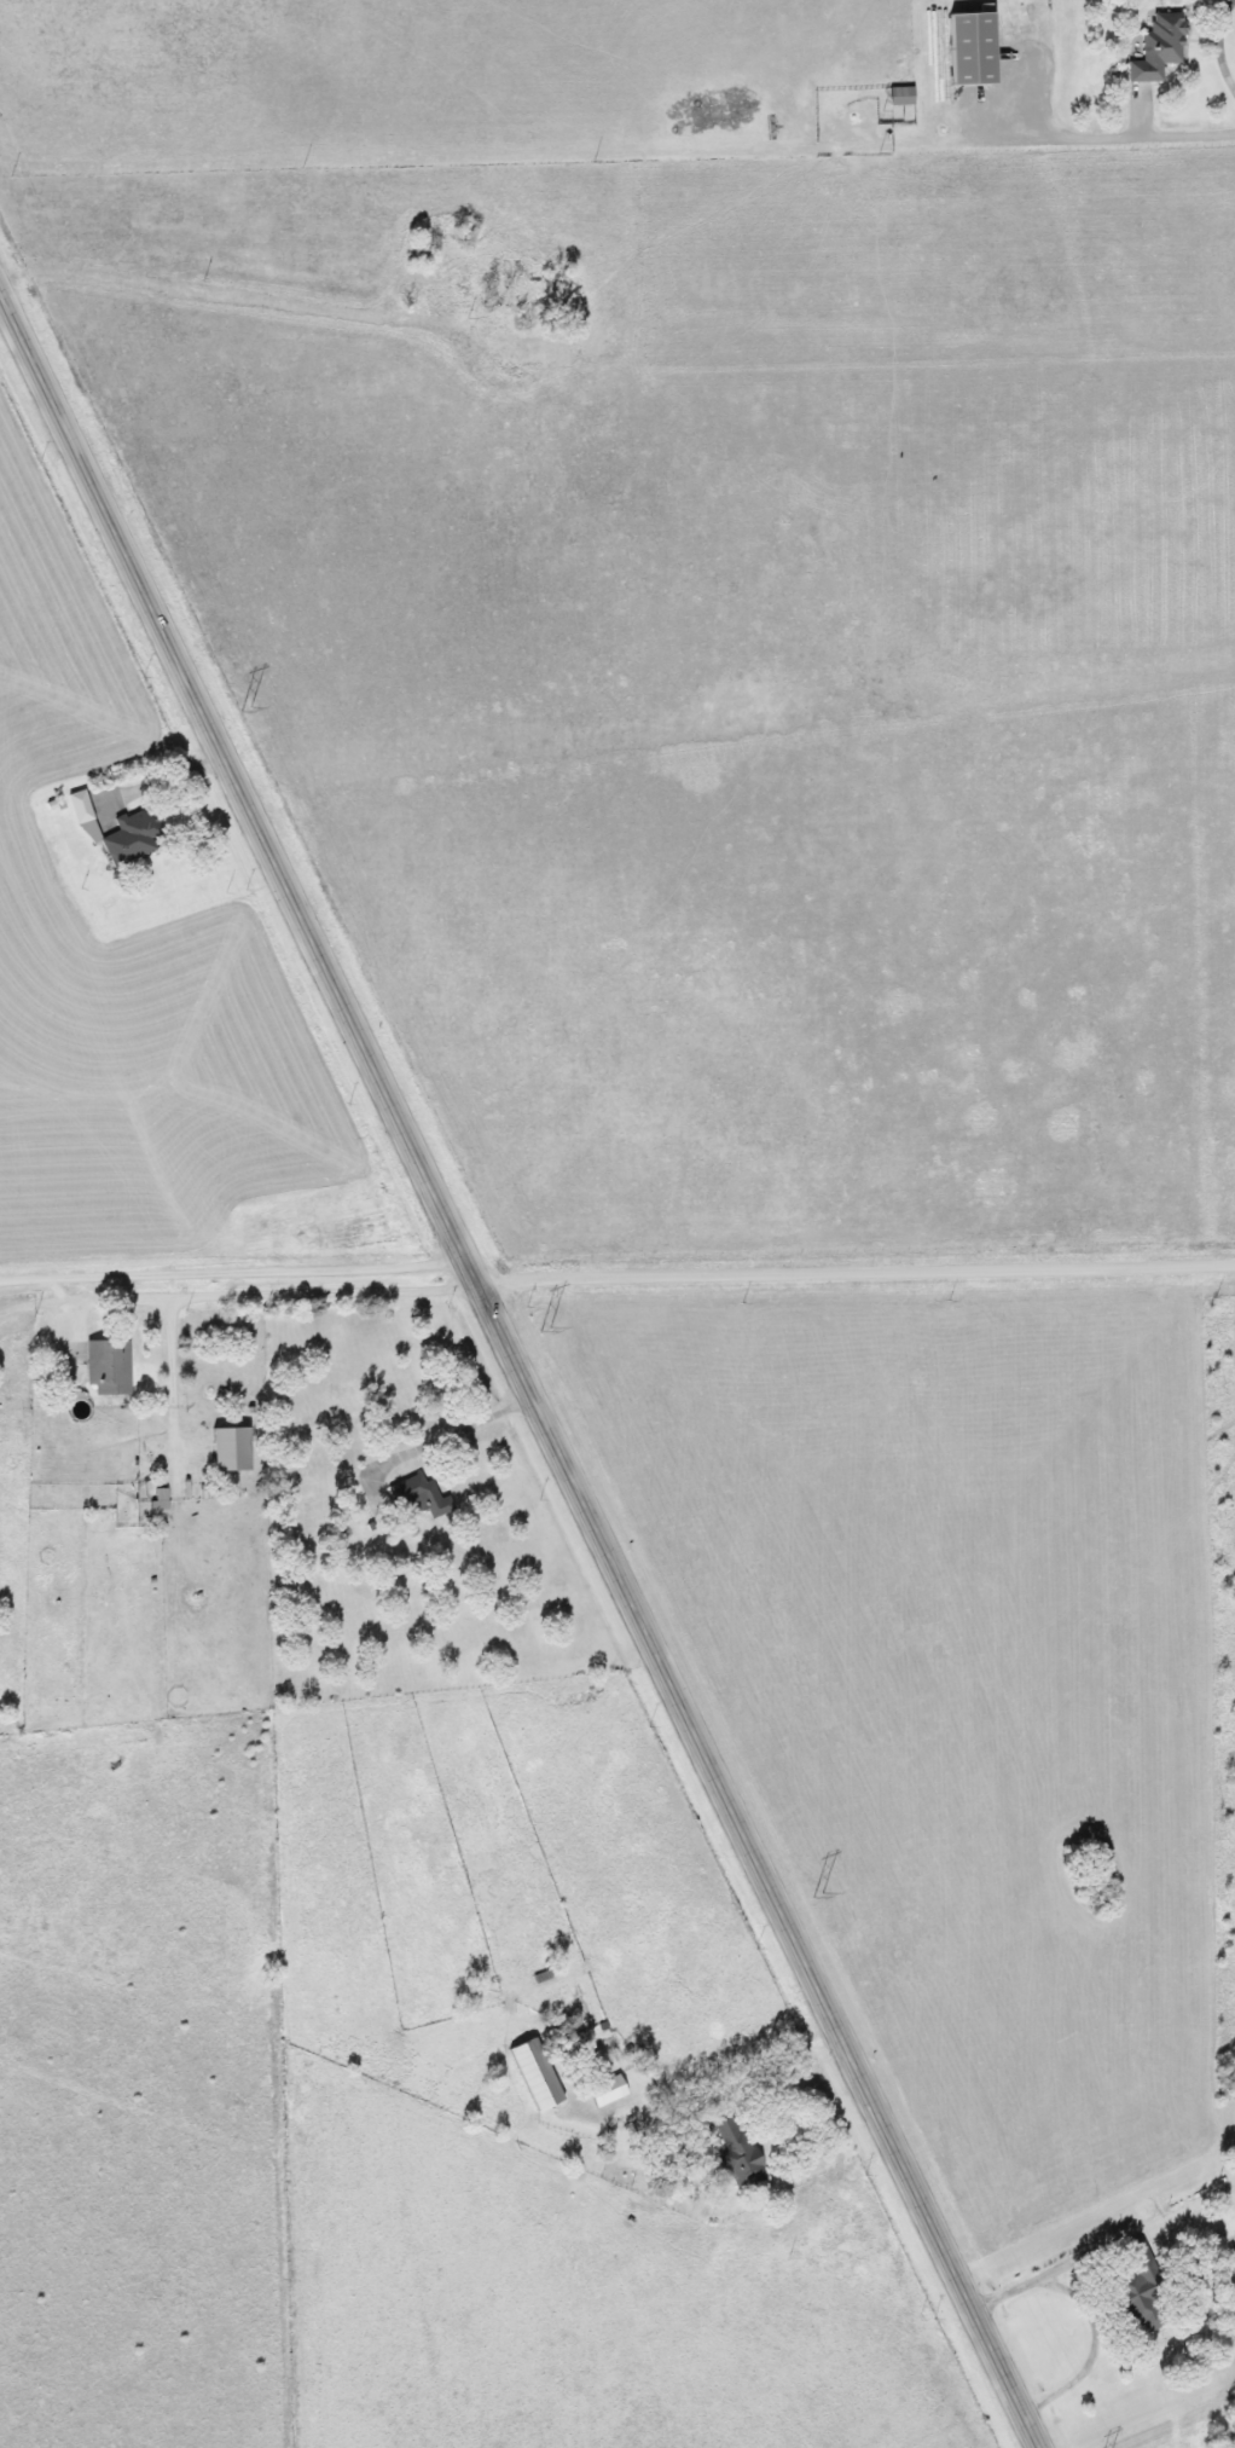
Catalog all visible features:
building: (969, 47)
road: (1216, 47)
building: (1155, 48)
building: (898, 97)
road: (1182, 135)
road: (239, 291)
power tower: (244, 710)
building: (116, 833)
road: (236, 1273)
road: (853, 1273)
road: (269, 1290)
power tower: (543, 1330)
building: (105, 1366)
road: (520, 1370)
road: (166, 1396)
road: (448, 1433)
building: (218, 1462)
building: (417, 1497)
building: (155, 1507)
power tower: (816, 1894)
building: (533, 2074)
building: (604, 2091)
road: (708, 2099)
building: (735, 2153)
road: (1088, 2256)
building: (1132, 2299)
road: (1088, 2314)

